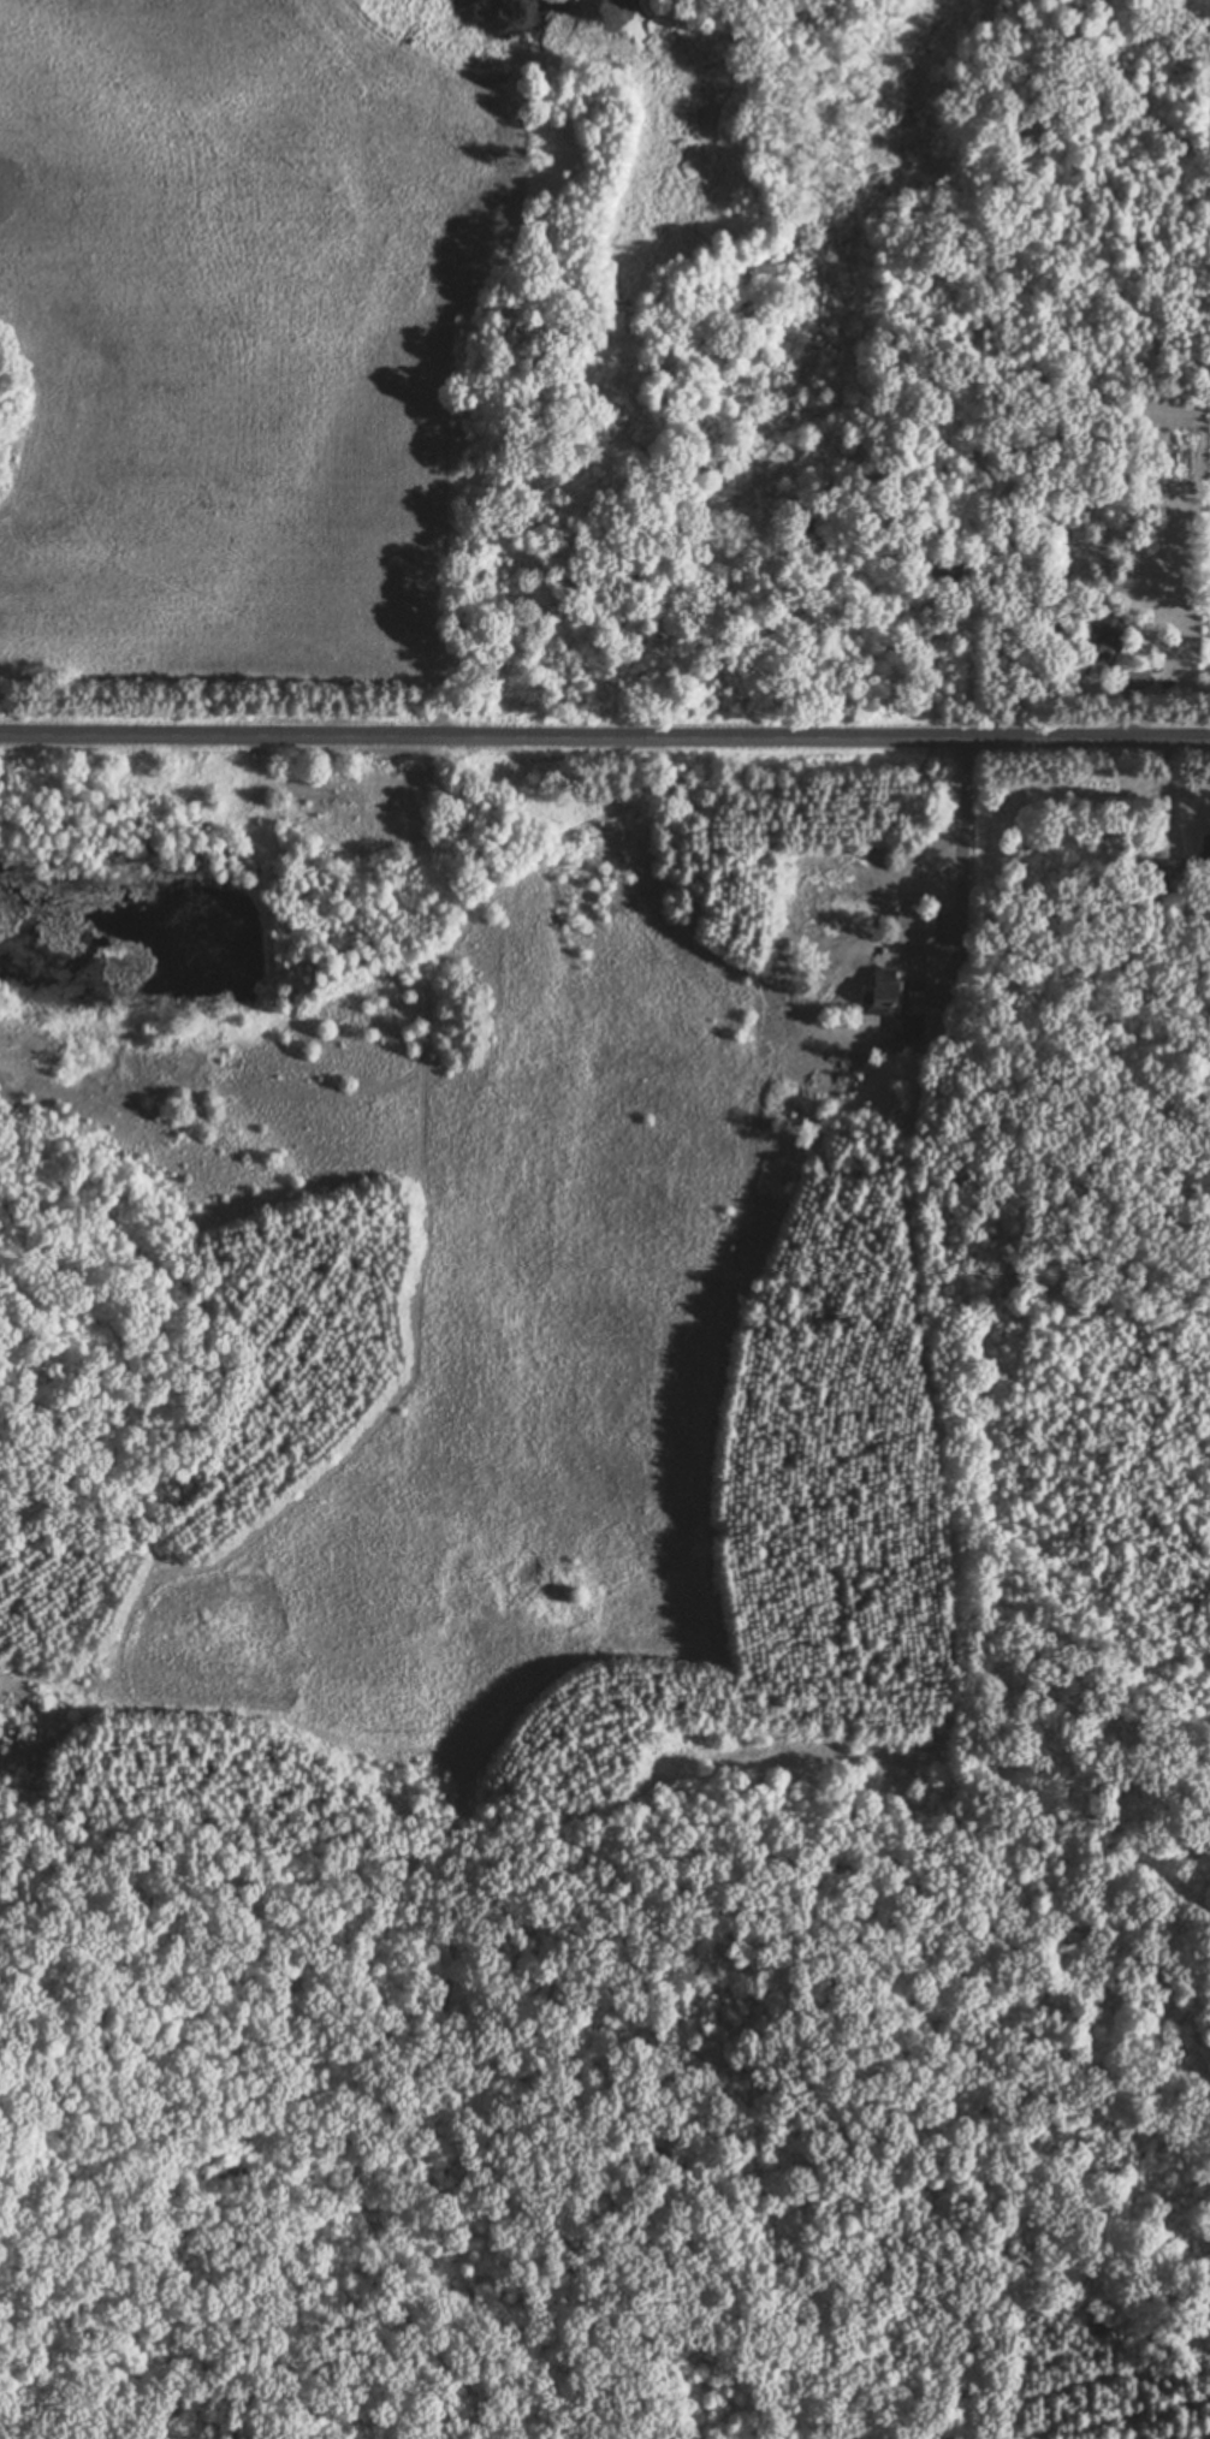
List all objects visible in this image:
building: (1055, 576)
building: (1097, 640)
road: (605, 734)
building: (1204, 845)
building: (1168, 873)
building: (914, 925)
building: (894, 1013)

